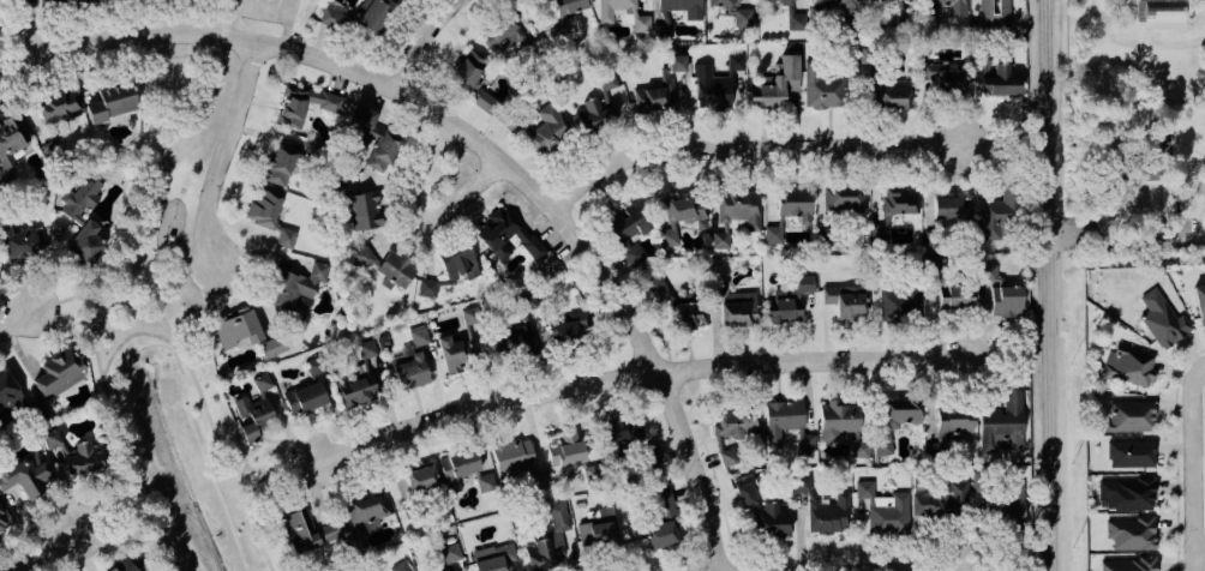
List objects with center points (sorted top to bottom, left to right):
building: (78, 0)
building: (833, 4)
building: (951, 6)
building: (569, 8)
parking lot: (265, 10)
building: (735, 11)
building: (1159, 11)
building: (899, 13)
building: (994, 13)
building: (334, 14)
park: (270, 16)
building: (372, 16)
building: (605, 16)
building: (693, 16)
building: (792, 16)
road: (292, 24)
building: (641, 24)
road: (37, 28)
road: (125, 35)
building: (503, 37)
road: (1132, 37)
road: (425, 42)
road: (330, 61)
building: (468, 70)
building: (945, 77)
building: (1000, 80)
building: (715, 84)
building: (774, 84)
building: (822, 86)
building: (888, 94)
building: (652, 98)
building: (484, 101)
building: (112, 102)
building: (302, 103)
building: (599, 106)
building: (58, 108)
road: (451, 122)
building: (542, 128)
road: (490, 131)
building: (374, 138)
building: (11, 145)
road: (748, 148)
road: (224, 149)
building: (1150, 160)
building: (280, 166)
road: (527, 184)
road: (155, 185)
building: (844, 200)
building: (897, 200)
building: (263, 206)
building: (952, 208)
building: (738, 209)
building: (364, 210)
building: (789, 211)
building: (999, 212)
road: (422, 217)
building: (682, 217)
building: (82, 222)
building: (881, 230)
building: (628, 232)
road: (1127, 232)
building: (505, 235)
building: (286, 238)
building: (721, 239)
building: (18, 242)
building: (385, 265)
building: (450, 268)
road: (174, 272)
road: (1050, 284)
building: (296, 288)
building: (658, 288)
building: (1001, 294)
building: (789, 300)
building: (528, 301)
building: (1199, 301)
building: (845, 302)
building: (900, 302)
building: (736, 306)
building: (687, 313)
building: (470, 314)
road: (30, 315)
building: (1162, 319)
building: (235, 327)
building: (570, 329)
road: (126, 335)
park: (175, 341)
building: (383, 342)
building: (514, 342)
building: (272, 347)
building: (367, 348)
building: (458, 353)
building: (412, 361)
building: (314, 365)
building: (1129, 365)
road: (1204, 367)
building: (58, 373)
road: (639, 374)
road: (660, 377)
building: (356, 389)
building: (304, 397)
building: (256, 408)
road: (206, 416)
building: (1128, 416)
building: (837, 420)
building: (895, 420)
street lamp: (1200, 420)
building: (735, 422)
building: (1002, 422)
building: (786, 423)
road: (115, 431)
building: (629, 438)
building: (859, 447)
building: (565, 449)
building: (73, 451)
building: (1127, 452)
road: (1176, 453)
building: (727, 456)
building: (511, 457)
building: (456, 467)
road: (1192, 468)
building: (28, 475)
road: (276, 475)
building: (420, 479)
building: (485, 481)
building: (745, 489)
building: (1125, 494)
building: (943, 500)
building: (664, 504)
building: (1011, 505)
building: (885, 509)
building: (367, 510)
building: (826, 510)
building: (5, 518)
building: (772, 519)
building: (596, 530)
building: (306, 531)
building: (1131, 533)
building: (660, 534)
building: (548, 541)
road: (59, 543)
street lamp: (1185, 548)
building: (450, 552)
building: (492, 557)
road: (1199, 560)
building: (1127, 564)
building: (124, 565)
building: (400, 566)
building: (448, 570)
road: (888, 570)

